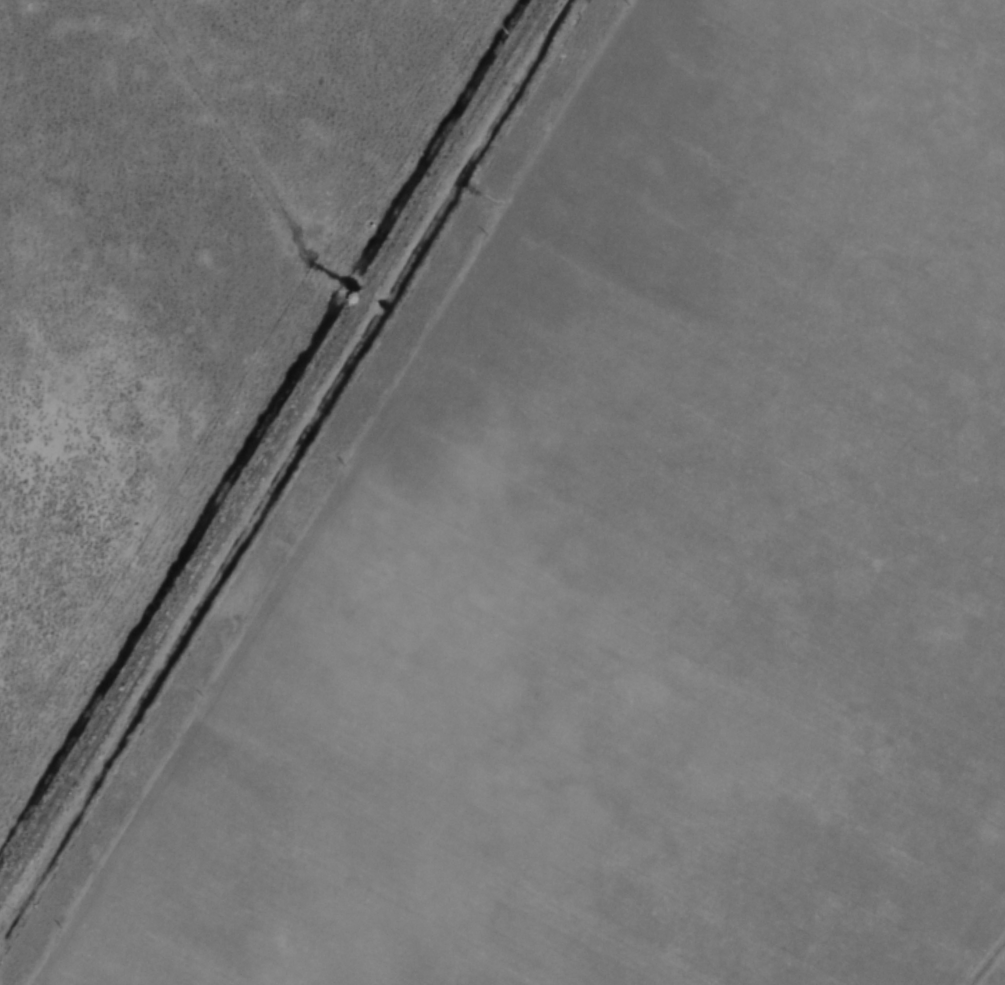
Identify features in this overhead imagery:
road: (284, 475)

